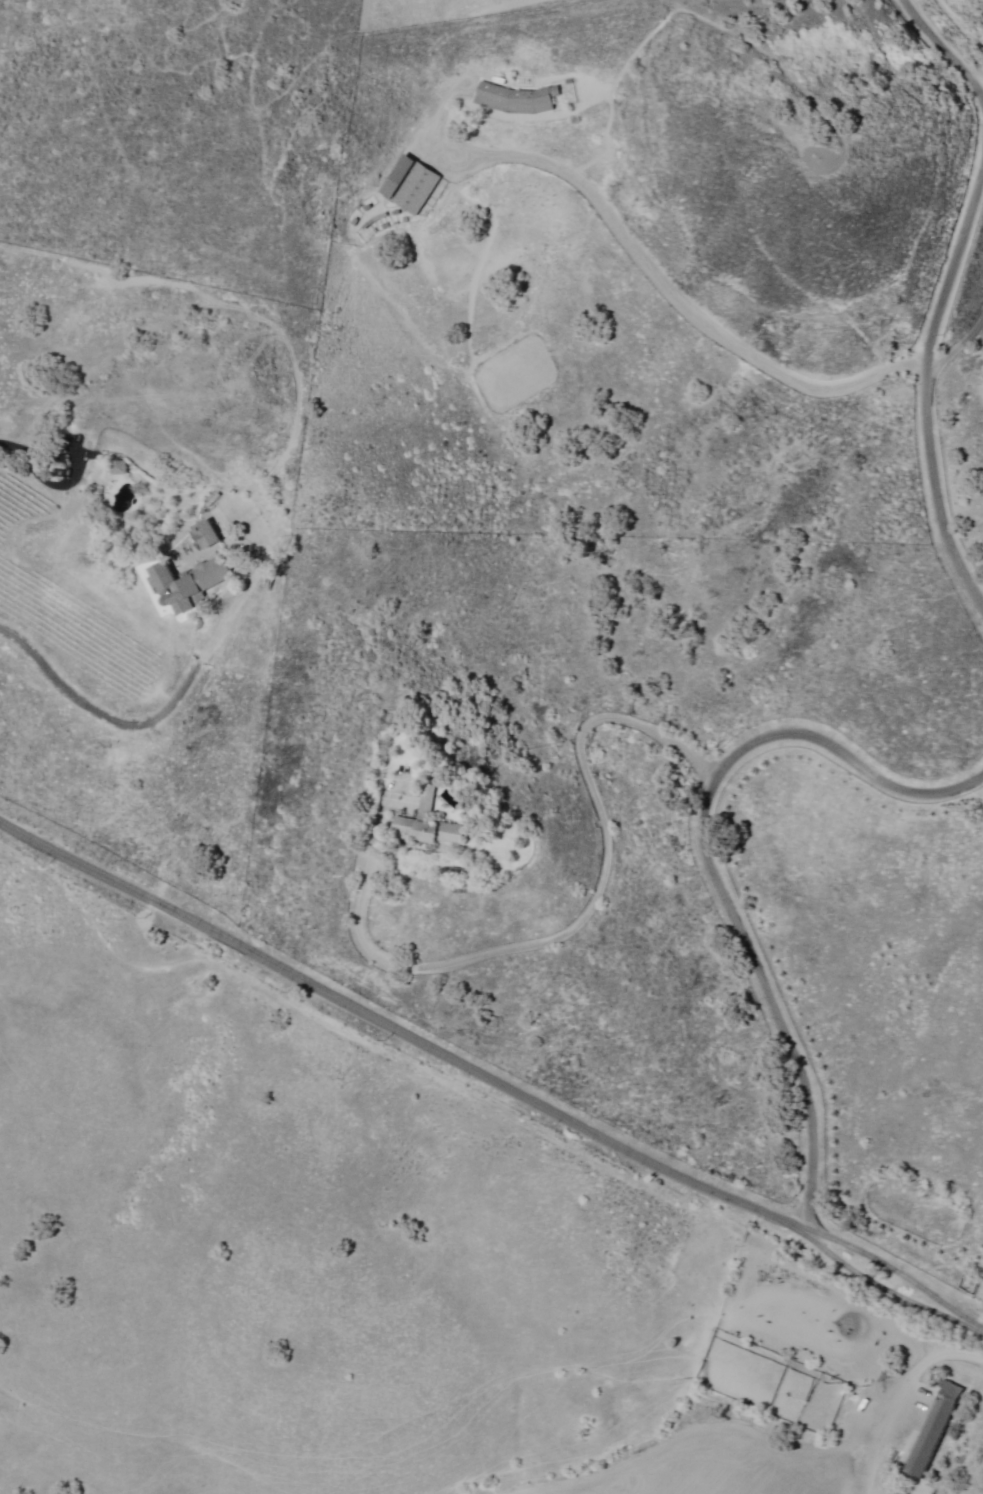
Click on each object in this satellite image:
road: (781, 2)
road: (944, 49)
building: (518, 99)
building: (409, 183)
road: (922, 371)
building: (207, 533)
building: (194, 584)
building: (429, 824)
road: (712, 857)
road: (435, 961)
road: (491, 1076)
road: (911, 1337)
building: (934, 1429)
crop: (707, 1458)

